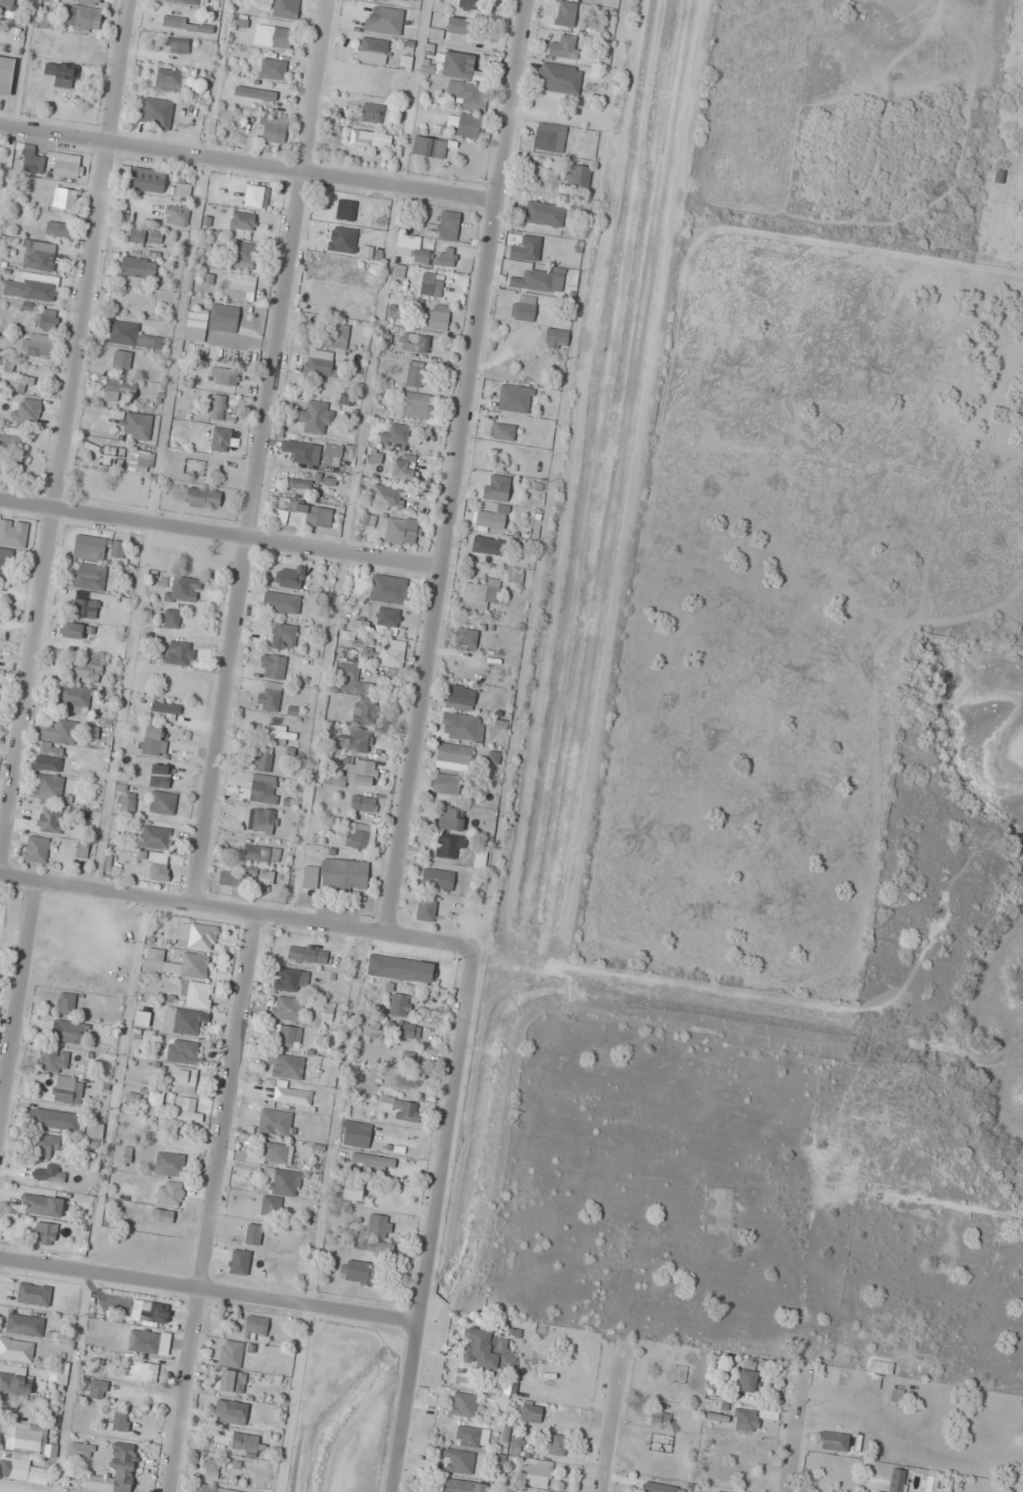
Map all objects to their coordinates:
building: (403, 0)
building: (87, 1)
building: (177, 1)
building: (470, 5)
building: (6, 7)
building: (285, 9)
building: (565, 14)
building: (83, 17)
building: (44, 19)
building: (384, 20)
building: (188, 24)
building: (459, 25)
building: (272, 36)
building: (179, 45)
building: (565, 47)
building: (68, 48)
building: (372, 50)
building: (489, 61)
building: (405, 63)
building: (457, 64)
building: (273, 69)
building: (6, 75)
building: (560, 78)
building: (169, 80)
building: (255, 93)
building: (466, 95)
building: (156, 113)
building: (372, 113)
building: (470, 126)
building: (272, 129)
building: (550, 137)
building: (370, 140)
building: (429, 148)
building: (31, 160)
road: (247, 166)
building: (68, 169)
building: (577, 176)
building: (143, 184)
building: (184, 193)
building: (256, 196)
building: (64, 198)
building: (345, 210)
building: (544, 213)
building: (176, 215)
building: (242, 221)
building: (444, 227)
building: (57, 229)
building: (137, 235)
building: (342, 240)
building: (417, 248)
building: (527, 249)
building: (38, 255)
building: (245, 256)
building: (445, 259)
building: (136, 270)
building: (539, 279)
building: (431, 284)
building: (32, 286)
building: (242, 287)
building: (525, 308)
building: (437, 317)
building: (48, 319)
building: (132, 336)
building: (335, 336)
building: (196, 338)
building: (557, 339)
building: (414, 342)
building: (40, 348)
building: (121, 359)
building: (319, 362)
building: (414, 374)
building: (224, 376)
building: (15, 379)
building: (117, 388)
building: (515, 399)
building: (418, 406)
building: (217, 407)
building: (316, 416)
building: (137, 426)
building: (503, 432)
road: (67, 434)
building: (396, 435)
building: (220, 439)
building: (12, 441)
building: (333, 450)
road: (259, 452)
building: (302, 452)
building: (375, 456)
building: (140, 461)
road: (457, 466)
building: (193, 467)
building: (403, 467)
building: (299, 484)
building: (495, 491)
building: (387, 497)
building: (203, 498)
building: (313, 514)
building: (368, 520)
building: (489, 522)
building: (401, 531)
building: (13, 534)
road: (221, 535)
building: (487, 545)
building: (93, 548)
building: (5, 561)
building: (89, 577)
building: (290, 578)
building: (185, 589)
building: (389, 589)
building: (480, 594)
building: (281, 602)
building: (84, 608)
building: (172, 619)
building: (388, 620)
building: (72, 630)
building: (283, 636)
building: (466, 638)
building: (109, 648)
building: (180, 653)
building: (391, 653)
building: (272, 666)
building: (85, 671)
building: (348, 672)
building: (270, 696)
building: (460, 697)
building: (75, 699)
building: (166, 710)
building: (365, 713)
building: (461, 727)
building: (59, 732)
building: (283, 735)
building: (361, 740)
building: (153, 743)
building: (453, 756)
building: (49, 757)
building: (263, 761)
building: (364, 773)
building: (160, 776)
building: (447, 784)
building: (49, 788)
building: (262, 790)
building: (127, 802)
building: (162, 803)
building: (363, 803)
building: (451, 819)
building: (50, 820)
building: (262, 821)
building: (357, 835)
building: (155, 838)
building: (449, 846)
building: (36, 849)
building: (260, 853)
building: (159, 871)
building: (344, 874)
building: (310, 877)
building: (235, 878)
building: (438, 879)
road: (193, 904)
building: (426, 909)
building: (197, 936)
building: (0, 954)
building: (307, 954)
building: (176, 964)
building: (400, 969)
building: (288, 979)
building: (197, 994)
building: (66, 1003)
building: (400, 1004)
road: (19, 1005)
building: (286, 1009)
building: (141, 1019)
building: (322, 1020)
building: (181, 1022)
building: (404, 1030)
building: (70, 1032)
building: (289, 1037)
building: (183, 1051)
building: (53, 1060)
building: (285, 1067)
river: (975, 1075)
building: (182, 1080)
building: (68, 1091)
building: (292, 1096)
building: (185, 1105)
building: (404, 1111)
building: (54, 1119)
building: (275, 1123)
building: (94, 1131)
building: (356, 1135)
building: (48, 1145)
building: (277, 1154)
building: (169, 1164)
building: (371, 1164)
building: (54, 1176)
road: (438, 1178)
building: (285, 1183)
building: (352, 1190)
building: (169, 1193)
road: (213, 1204)
building: (38, 1205)
building: (270, 1206)
building: (378, 1227)
building: (45, 1233)
building: (253, 1235)
building: (373, 1246)
building: (357, 1272)
road: (209, 1292)
building: (33, 1294)
building: (24, 1325)
building: (255, 1325)
building: (149, 1342)
building: (16, 1350)
building: (486, 1350)
building: (230, 1354)
building: (881, 1367)
building: (140, 1372)
building: (60, 1374)
building: (232, 1381)
building: (747, 1381)
building: (15, 1382)
building: (97, 1389)
building: (896, 1395)
building: (463, 1405)
building: (231, 1412)
building: (531, 1412)
road: (610, 1418)
building: (746, 1420)
building: (120, 1421)
road: (798, 1434)
building: (471, 1437)
building: (29, 1441)
building: (834, 1441)
building: (245, 1443)
building: (556, 1445)
building: (81, 1449)
building: (459, 1462)
building: (210, 1468)
building: (14, 1470)
building: (115, 1473)
building: (535, 1473)
building: (931, 1484)
building: (462, 1486)
building: (663, 1488)
building: (213, 1489)
building: (550, 1491)

